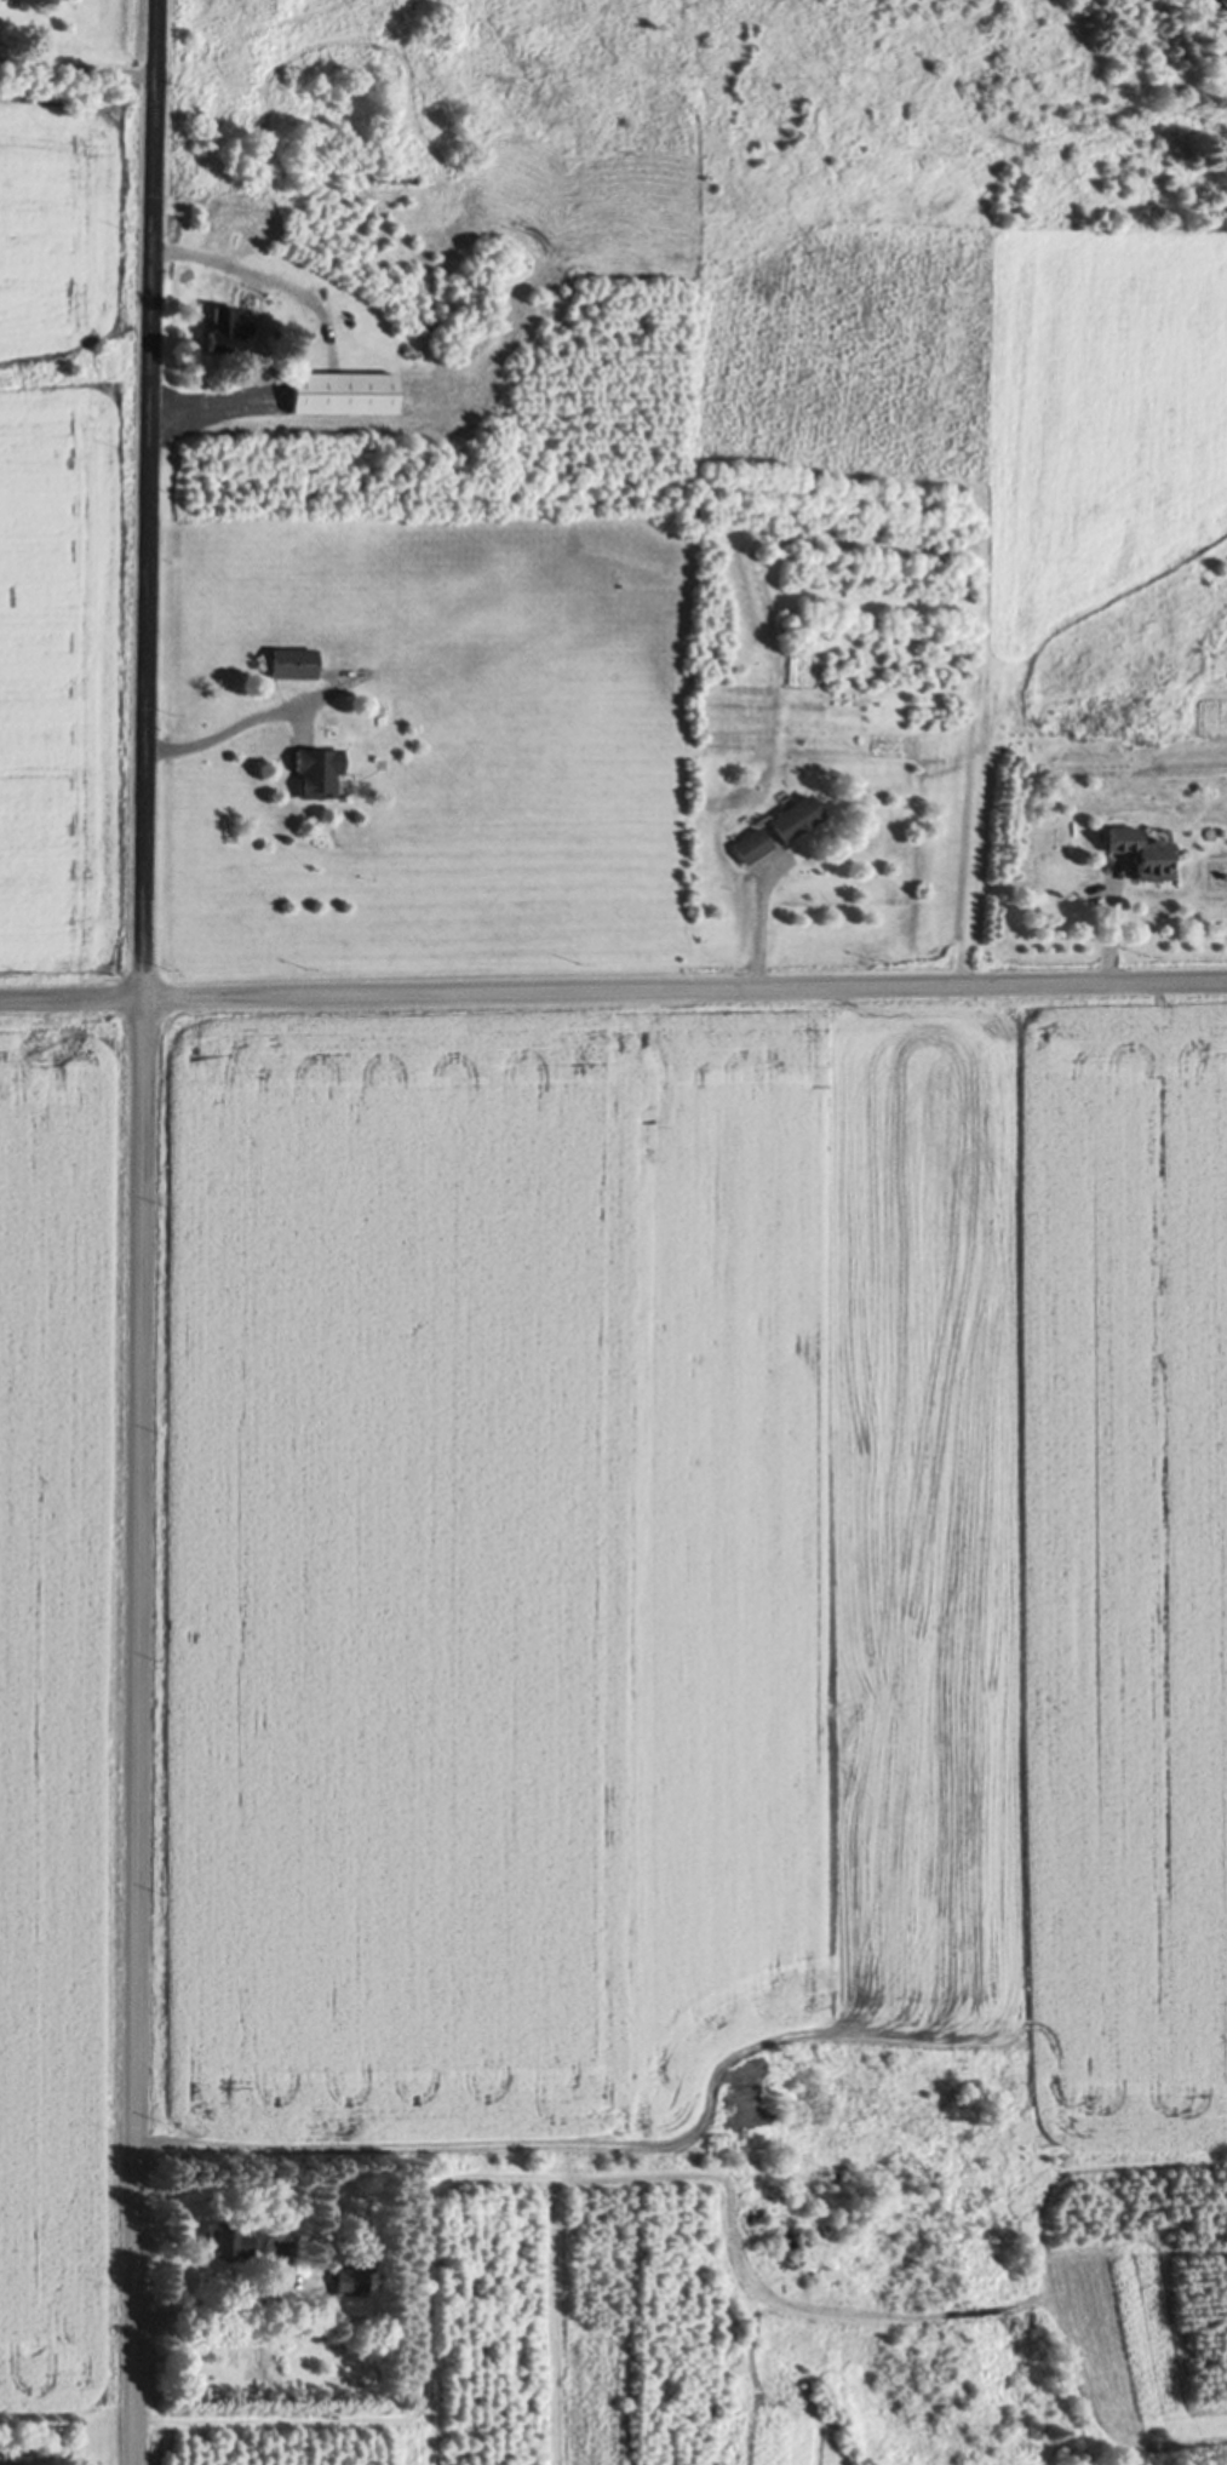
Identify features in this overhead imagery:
building: (225, 332)
building: (343, 396)
road: (150, 498)
building: (292, 666)
building: (316, 774)
building: (776, 832)
building: (1142, 856)
road: (613, 998)
road: (137, 1731)
building: (234, 2247)
building: (283, 2258)
building: (350, 2285)

